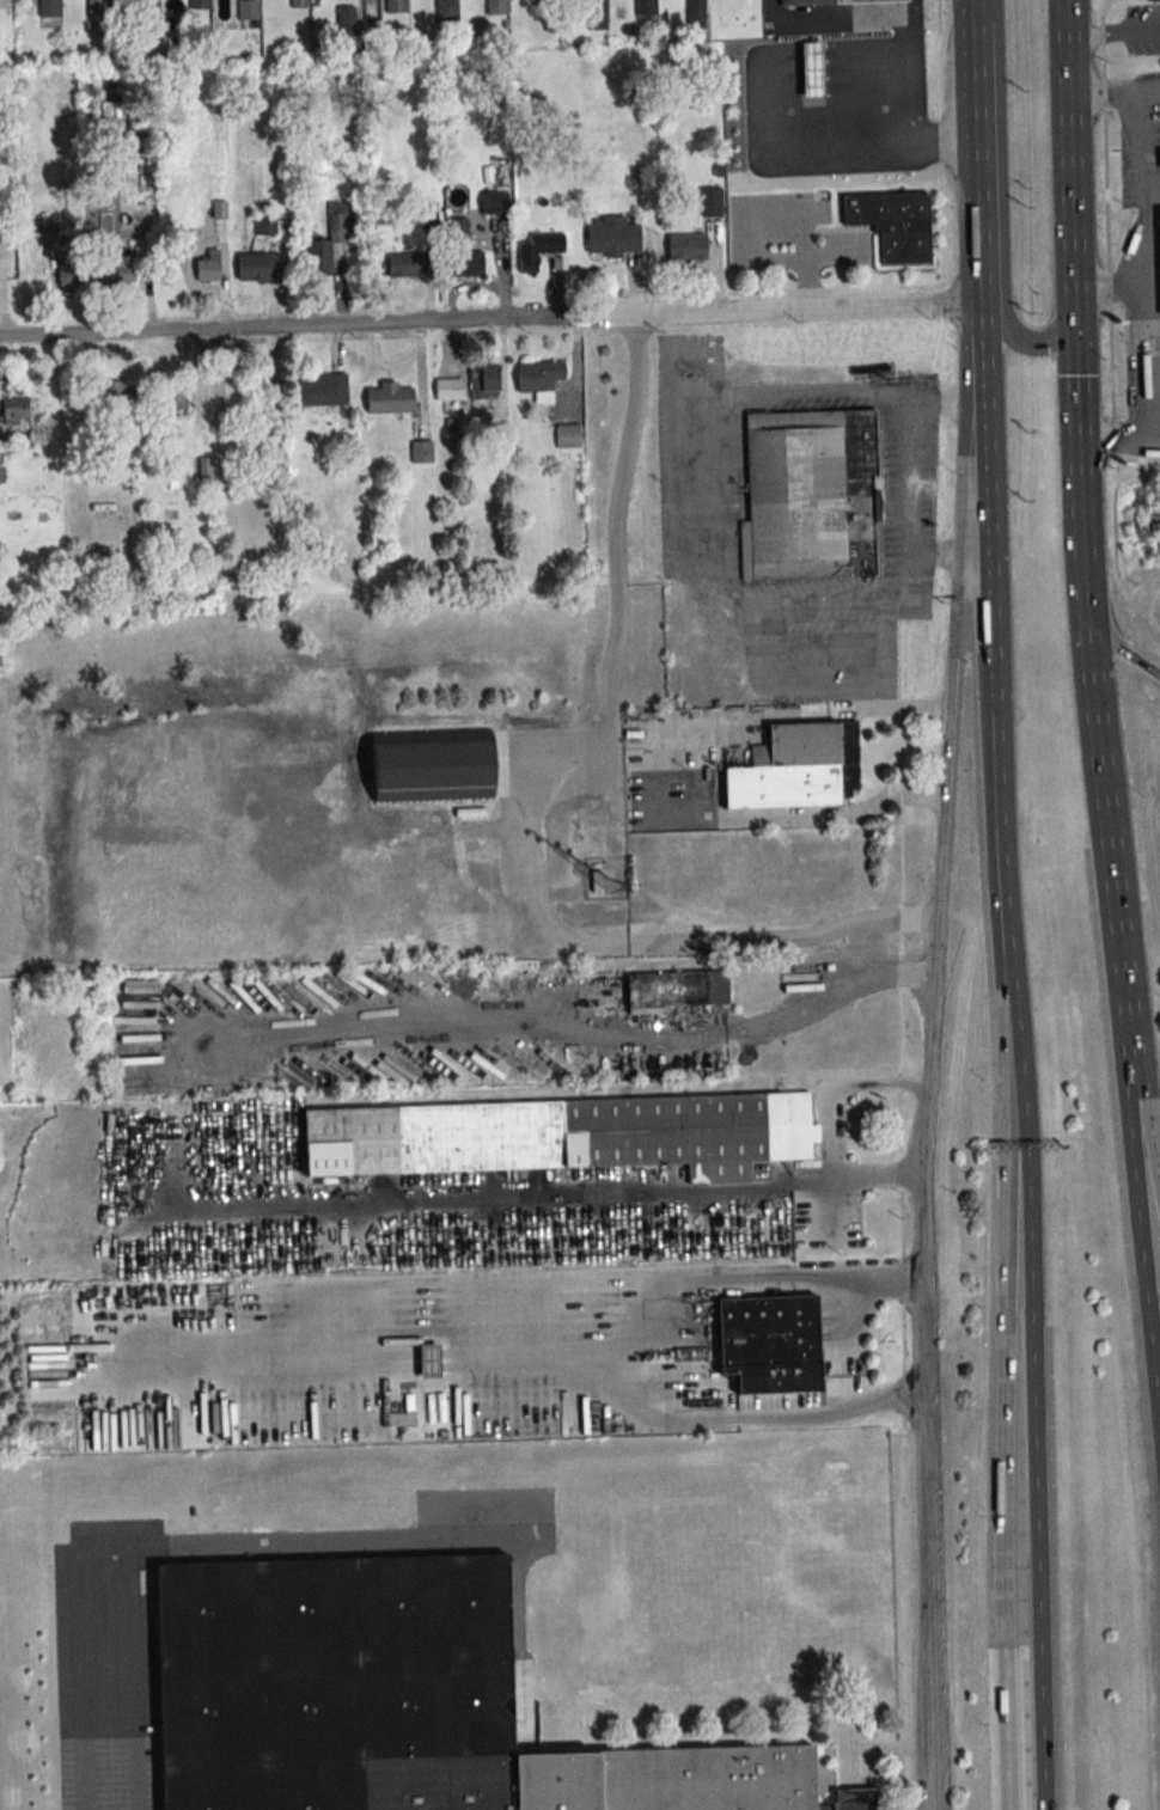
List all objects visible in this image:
building: (865, 1)
building: (1150, 1)
building: (805, 2)
building: (199, 4)
building: (299, 4)
building: (396, 6)
building: (496, 6)
building: (49, 7)
building: (98, 7)
building: (645, 7)
building: (248, 10)
building: (446, 10)
building: (596, 13)
building: (695, 13)
road: (843, 14)
building: (346, 18)
road: (967, 24)
road: (1113, 33)
road: (865, 56)
road: (813, 60)
building: (812, 67)
road: (1113, 93)
road: (940, 141)
road: (1134, 142)
road: (848, 145)
road: (1068, 165)
road: (973, 178)
building: (494, 202)
building: (710, 202)
building: (264, 224)
building: (893, 225)
building: (459, 231)
parking lot: (789, 233)
building: (612, 236)
building: (330, 239)
building: (686, 246)
building: (538, 250)
building: (1158, 251)
building: (466, 263)
building: (405, 264)
building: (208, 265)
building: (256, 267)
road: (1142, 268)
building: (69, 273)
building: (116, 273)
road: (810, 312)
road: (320, 326)
traffic signals: (1073, 330)
road: (1152, 332)
road: (1021, 342)
road: (982, 349)
road: (1144, 361)
road: (677, 368)
building: (539, 379)
building: (484, 380)
building: (320, 390)
building: (118, 392)
building: (450, 393)
building: (172, 396)
building: (390, 398)
building: (14, 412)
road: (1118, 438)
building: (568, 439)
building: (422, 451)
building: (203, 466)
road: (920, 475)
road: (1077, 481)
building: (811, 494)
road: (989, 528)
road: (715, 593)
road: (816, 599)
road: (954, 656)
road: (1122, 656)
building: (431, 765)
building: (796, 768)
road: (641, 772)
road: (539, 806)
road: (1106, 856)
building: (596, 880)
building: (676, 989)
road: (552, 1028)
road: (837, 1088)
road: (1147, 1129)
building: (563, 1136)
road: (880, 1178)
road: (496, 1200)
road: (1005, 1236)
road: (1026, 1236)
road: (1147, 1259)
building: (770, 1343)
road: (584, 1345)
road: (921, 1365)
road: (739, 1417)
road: (181, 1555)
road: (898, 1615)
building: (398, 1702)

